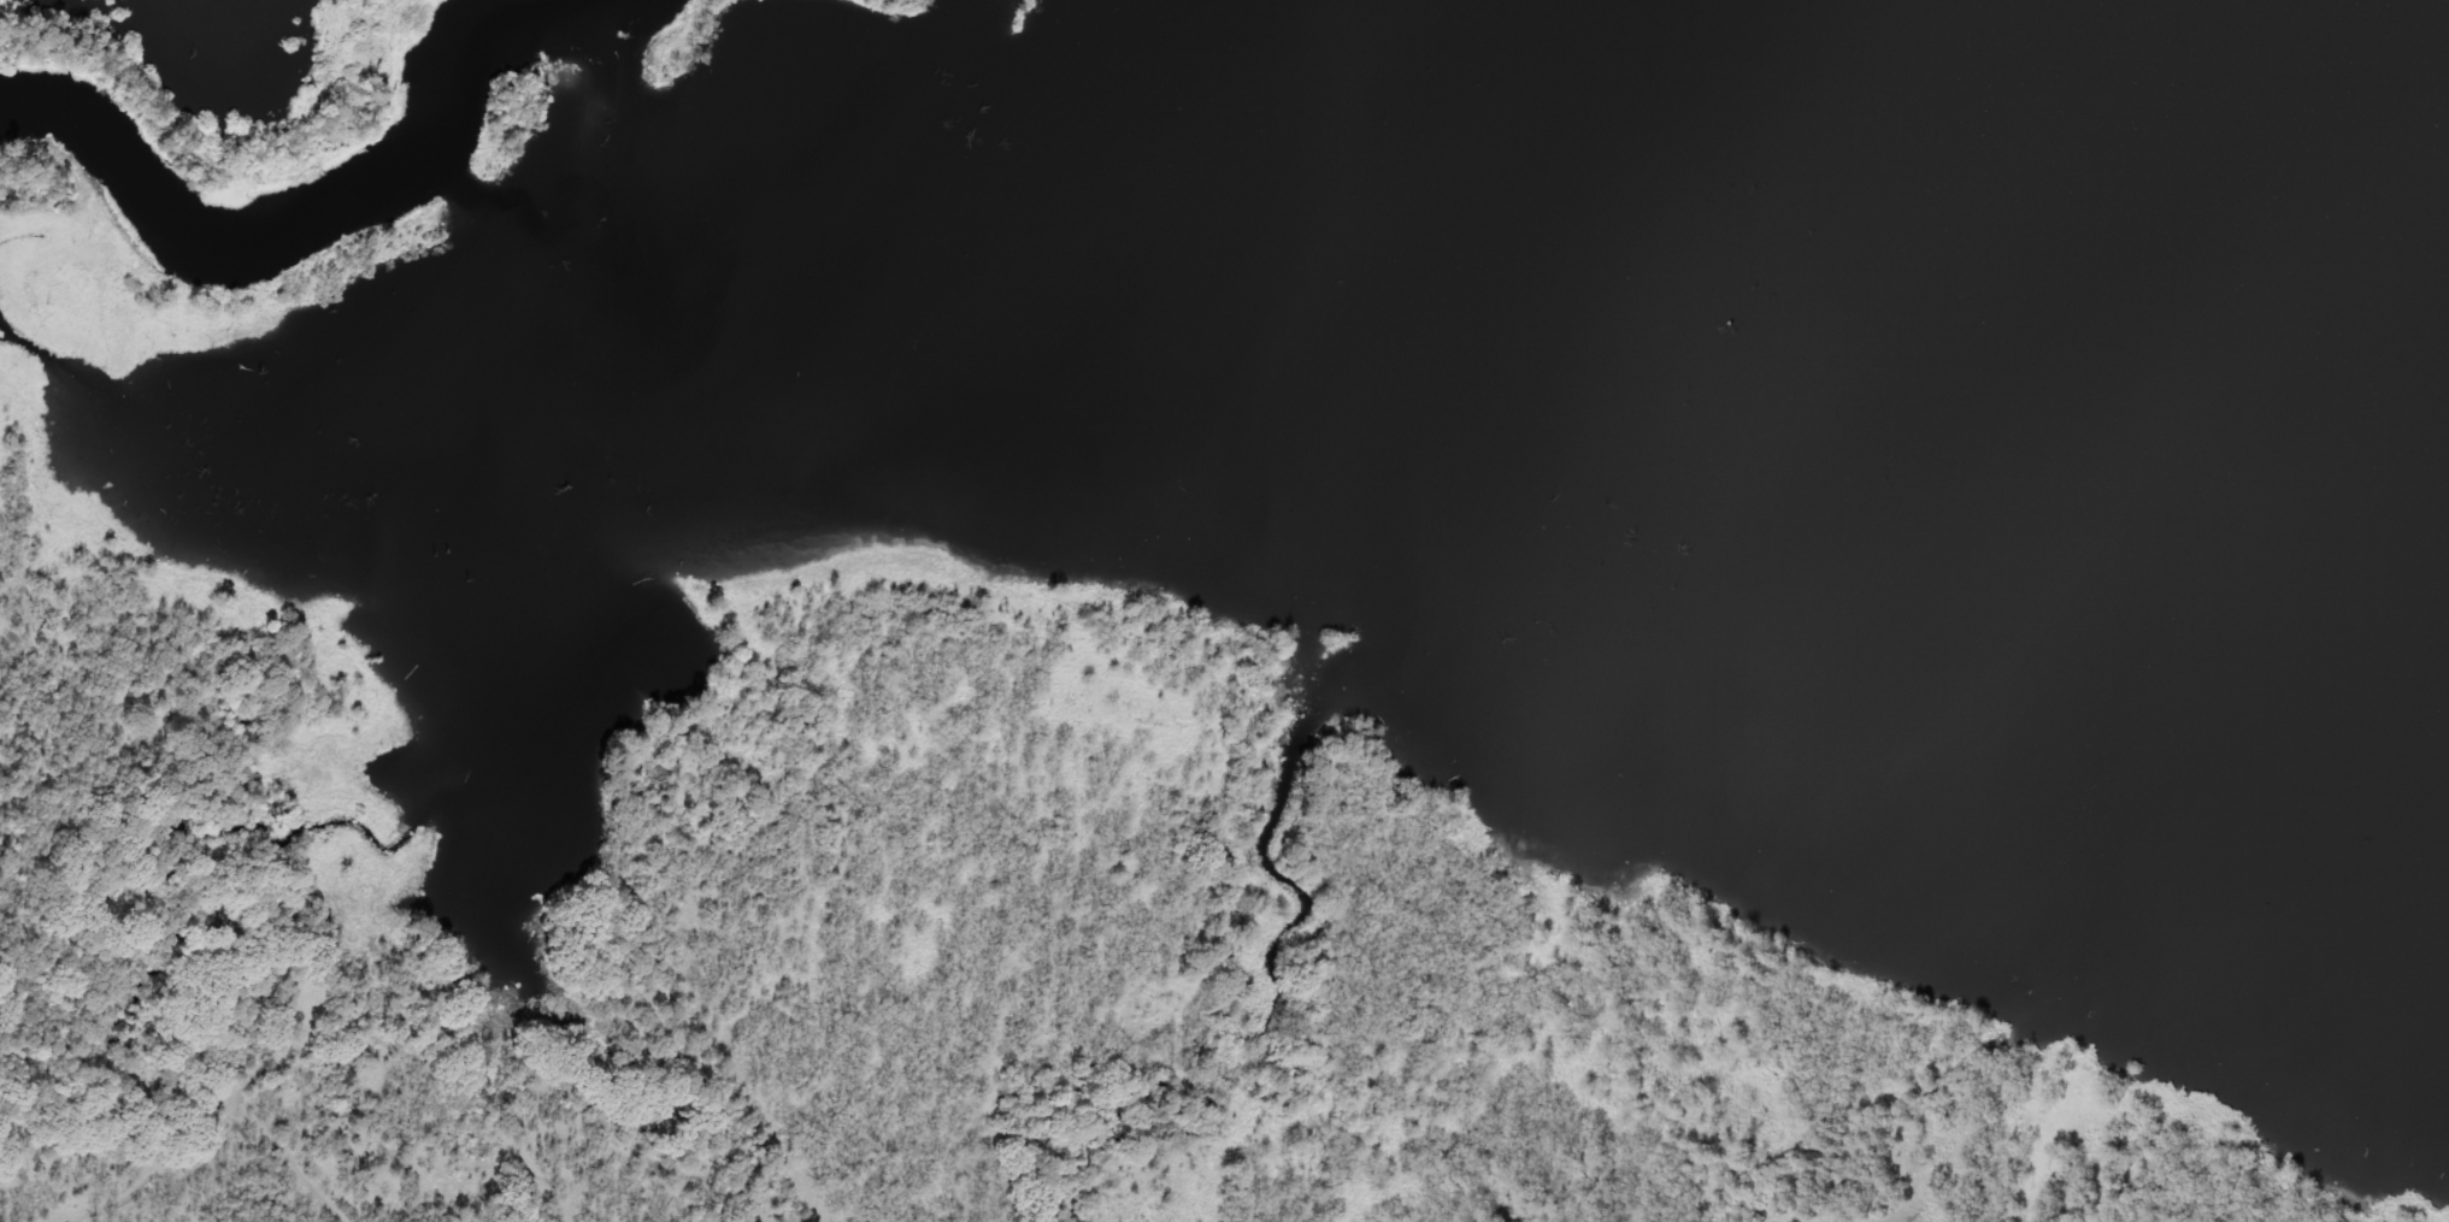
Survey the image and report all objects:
road: (2050, 1131)

